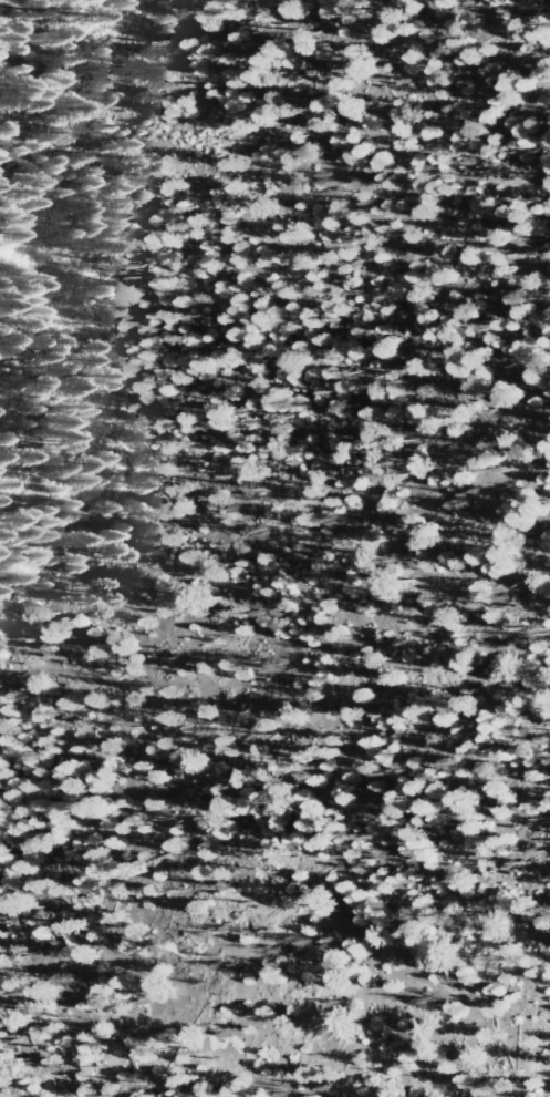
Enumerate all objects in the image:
road: (307, 765)

